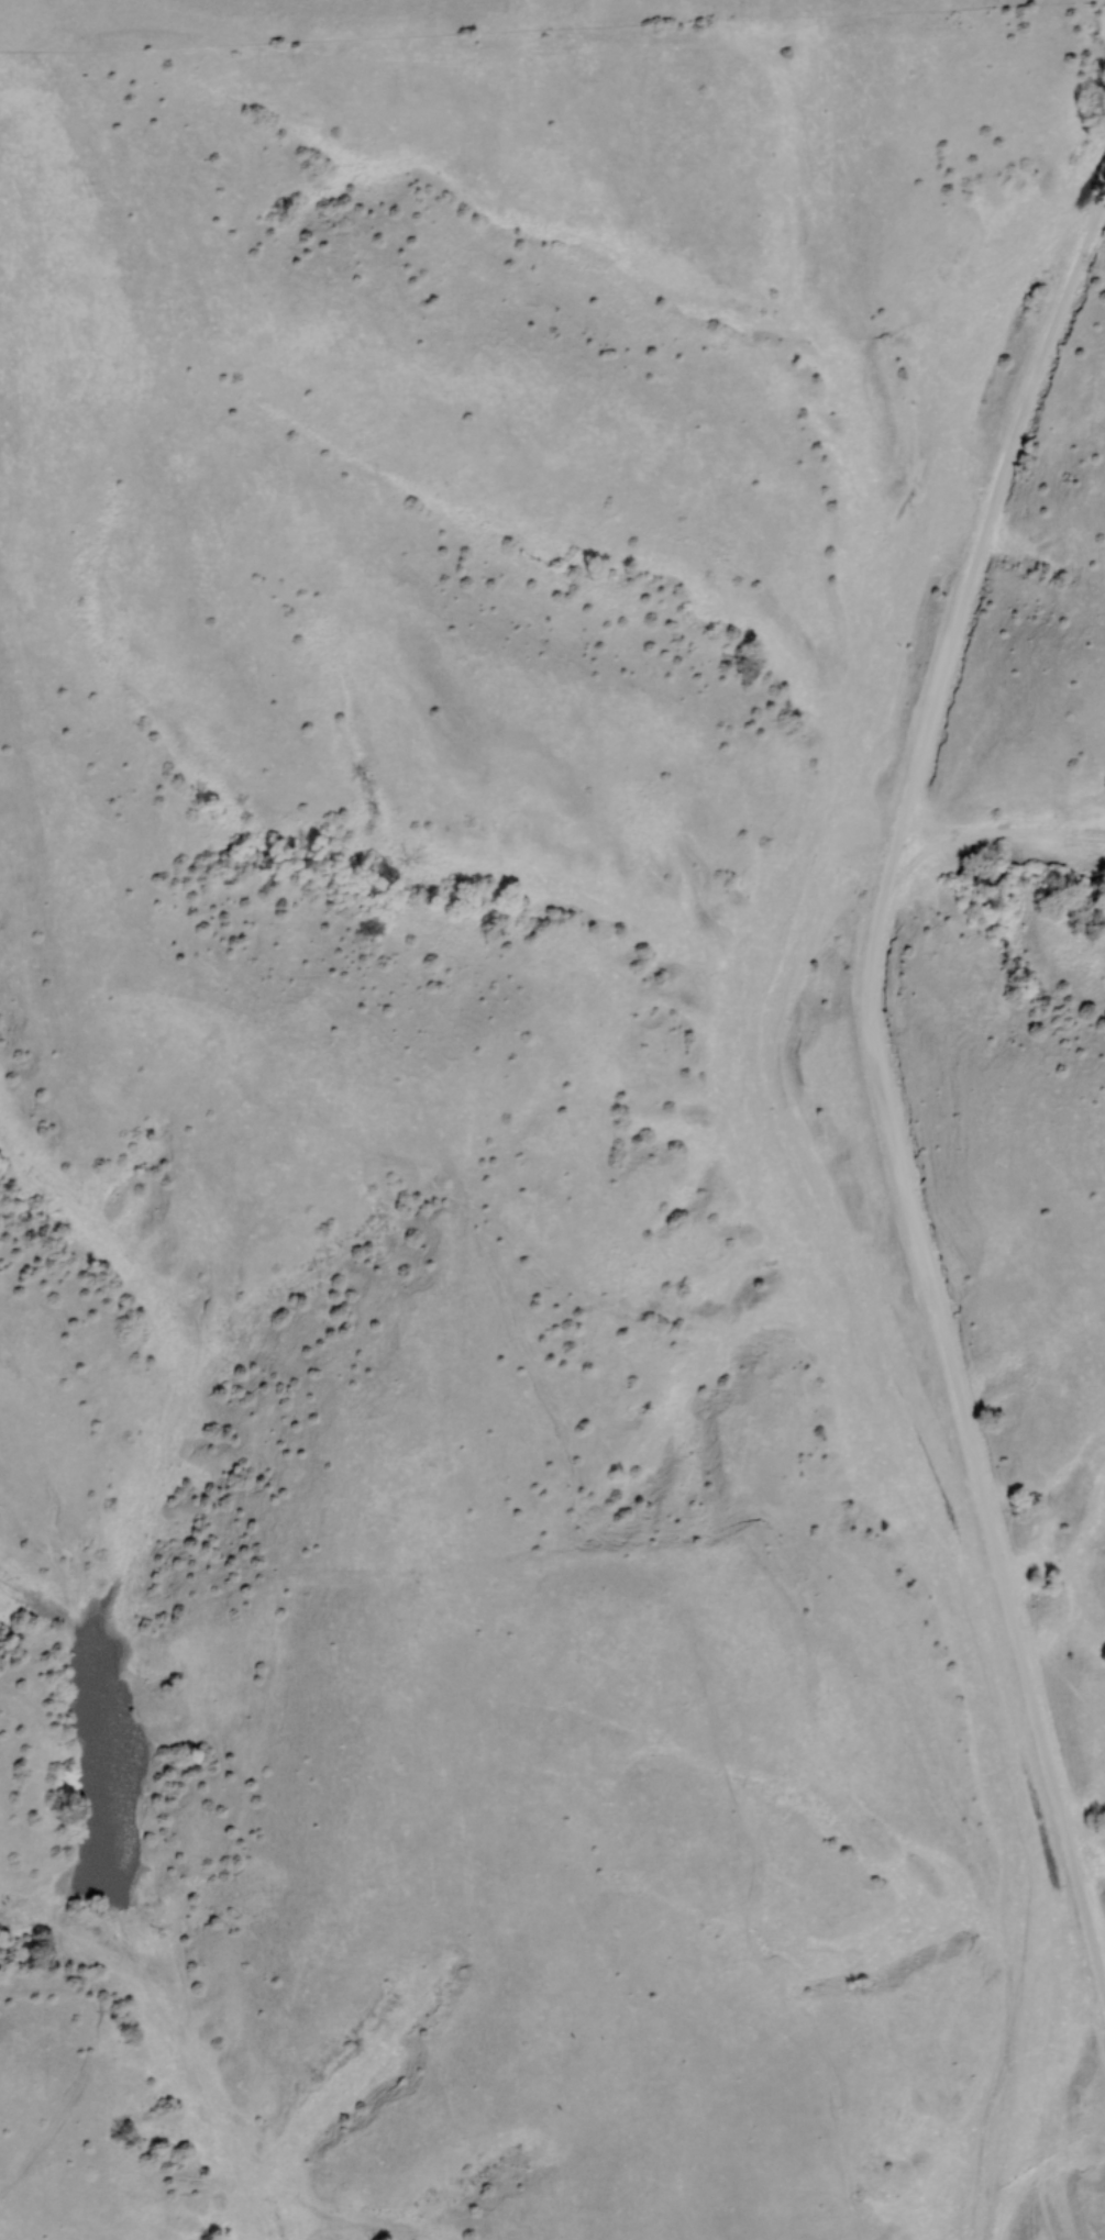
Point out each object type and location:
road: (885, 1087)

